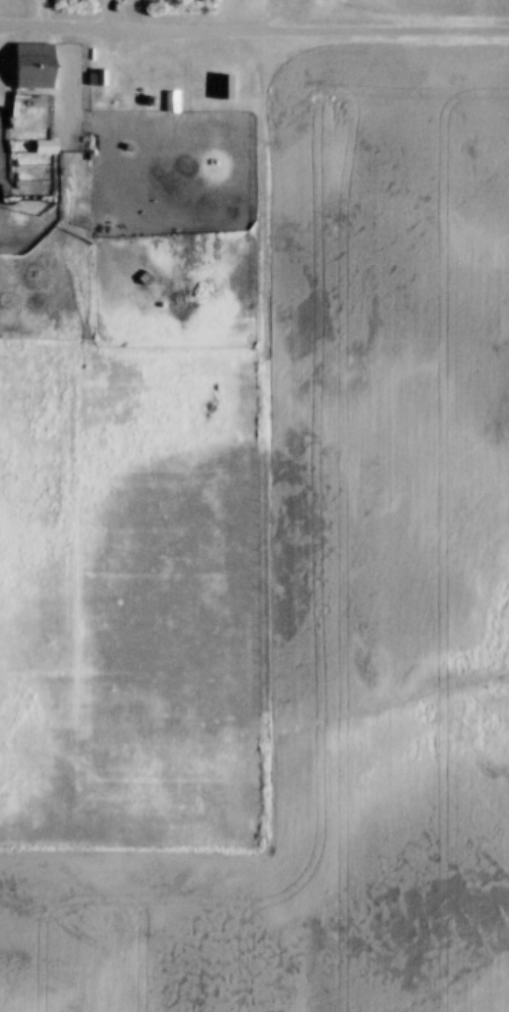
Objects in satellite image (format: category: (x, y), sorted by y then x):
road: (254, 30)
building: (38, 66)
building: (225, 87)

